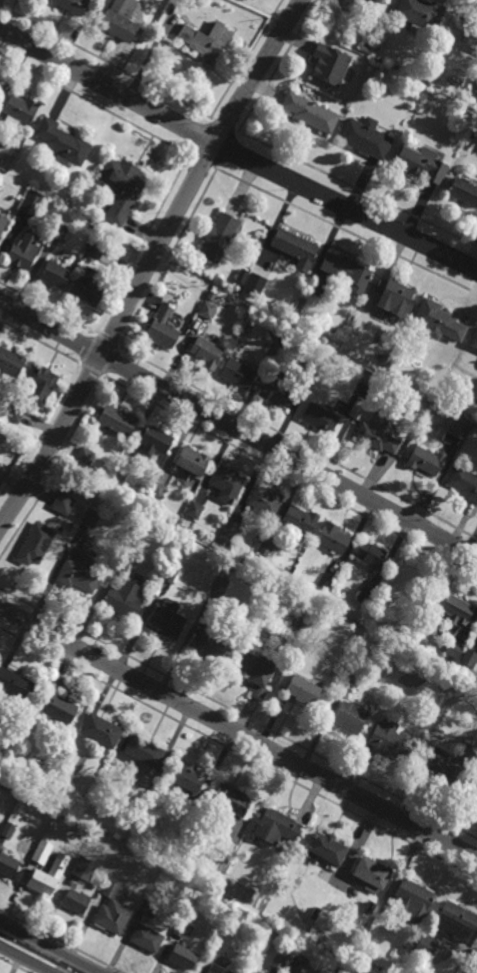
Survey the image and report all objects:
building: (379, 1)
building: (72, 5)
building: (351, 7)
building: (419, 12)
building: (116, 23)
building: (469, 32)
building: (205, 41)
building: (364, 47)
building: (329, 63)
building: (475, 84)
building: (19, 110)
building: (470, 110)
building: (309, 112)
building: (365, 137)
building: (61, 141)
road: (236, 153)
road: (288, 155)
building: (420, 163)
building: (120, 188)
building: (464, 190)
building: (32, 202)
building: (2, 223)
building: (58, 232)
building: (217, 237)
building: (294, 248)
building: (23, 250)
building: (94, 251)
road: (149, 262)
building: (286, 265)
building: (346, 271)
building: (53, 274)
building: (241, 275)
building: (217, 281)
building: (254, 285)
building: (86, 290)
building: (210, 296)
building: (394, 297)
building: (243, 308)
building: (206, 310)
building: (295, 314)
building: (438, 321)
building: (162, 328)
building: (474, 341)
building: (273, 350)
building: (206, 352)
building: (10, 363)
building: (312, 369)
building: (237, 375)
building: (367, 379)
building: (39, 384)
building: (276, 392)
building: (13, 411)
building: (319, 418)
building: (116, 420)
road: (238, 428)
building: (459, 430)
building: (376, 434)
building: (154, 442)
building: (85, 455)
building: (0, 457)
building: (426, 461)
building: (192, 462)
building: (120, 472)
building: (226, 484)
building: (464, 484)
building: (157, 490)
building: (265, 502)
building: (62, 505)
building: (194, 511)
building: (88, 520)
building: (299, 520)
building: (228, 533)
building: (332, 539)
building: (35, 544)
building: (265, 549)
building: (369, 554)
building: (123, 560)
building: (258, 560)
building: (79, 574)
building: (170, 575)
building: (326, 582)
building: (219, 585)
building: (363, 596)
building: (123, 599)
building: (271, 600)
building: (456, 611)
building: (167, 620)
building: (210, 645)
building: (454, 650)
building: (468, 658)
building: (256, 673)
building: (352, 673)
building: (14, 685)
building: (302, 689)
building: (58, 707)
building: (349, 718)
building: (21, 729)
building: (101, 730)
road: (238, 732)
building: (389, 740)
building: (142, 751)
building: (441, 767)
building: (187, 777)
building: (470, 786)
building: (231, 799)
building: (275, 827)
building: (7, 829)
building: (116, 836)
building: (327, 848)
building: (42, 851)
building: (7, 866)
building: (83, 868)
building: (372, 872)
building: (44, 880)
building: (75, 901)
building: (412, 901)
building: (148, 909)
building: (112, 910)
building: (314, 913)
building: (457, 921)
building: (183, 929)
building: (146, 938)
building: (426, 946)
road: (48, 948)
building: (182, 956)
road: (24, 960)
building: (279, 961)
building: (221, 966)
building: (294, 966)

